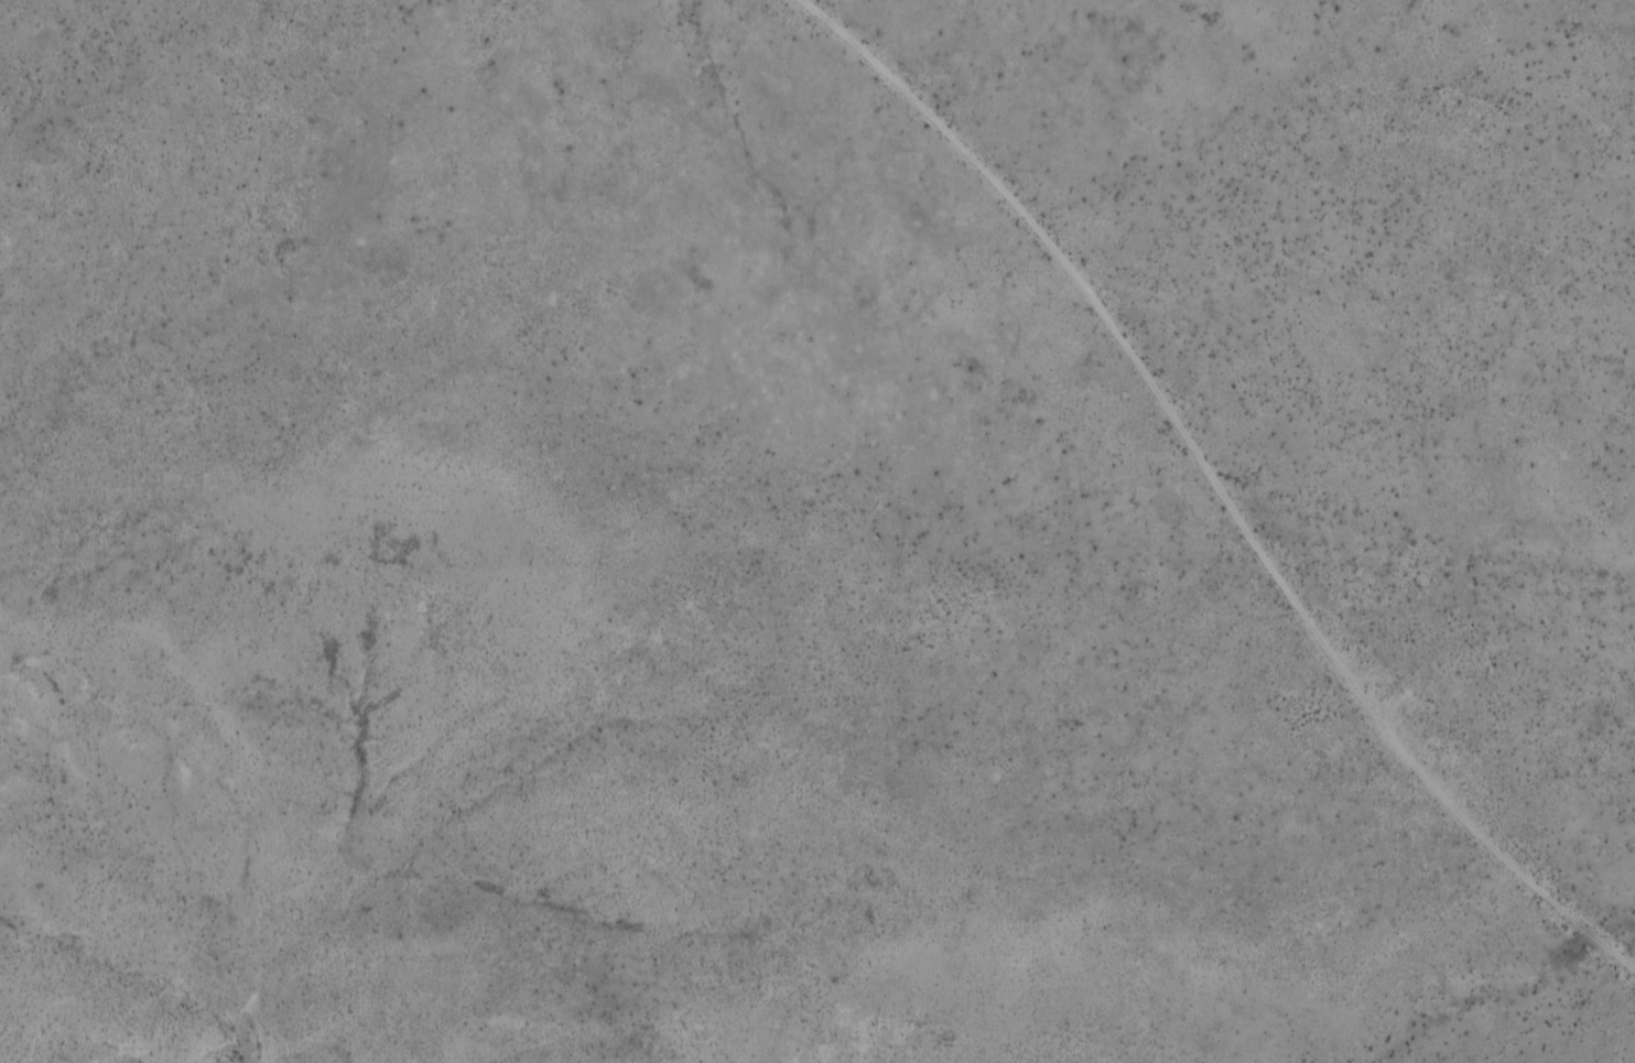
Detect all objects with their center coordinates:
road: (1212, 486)

